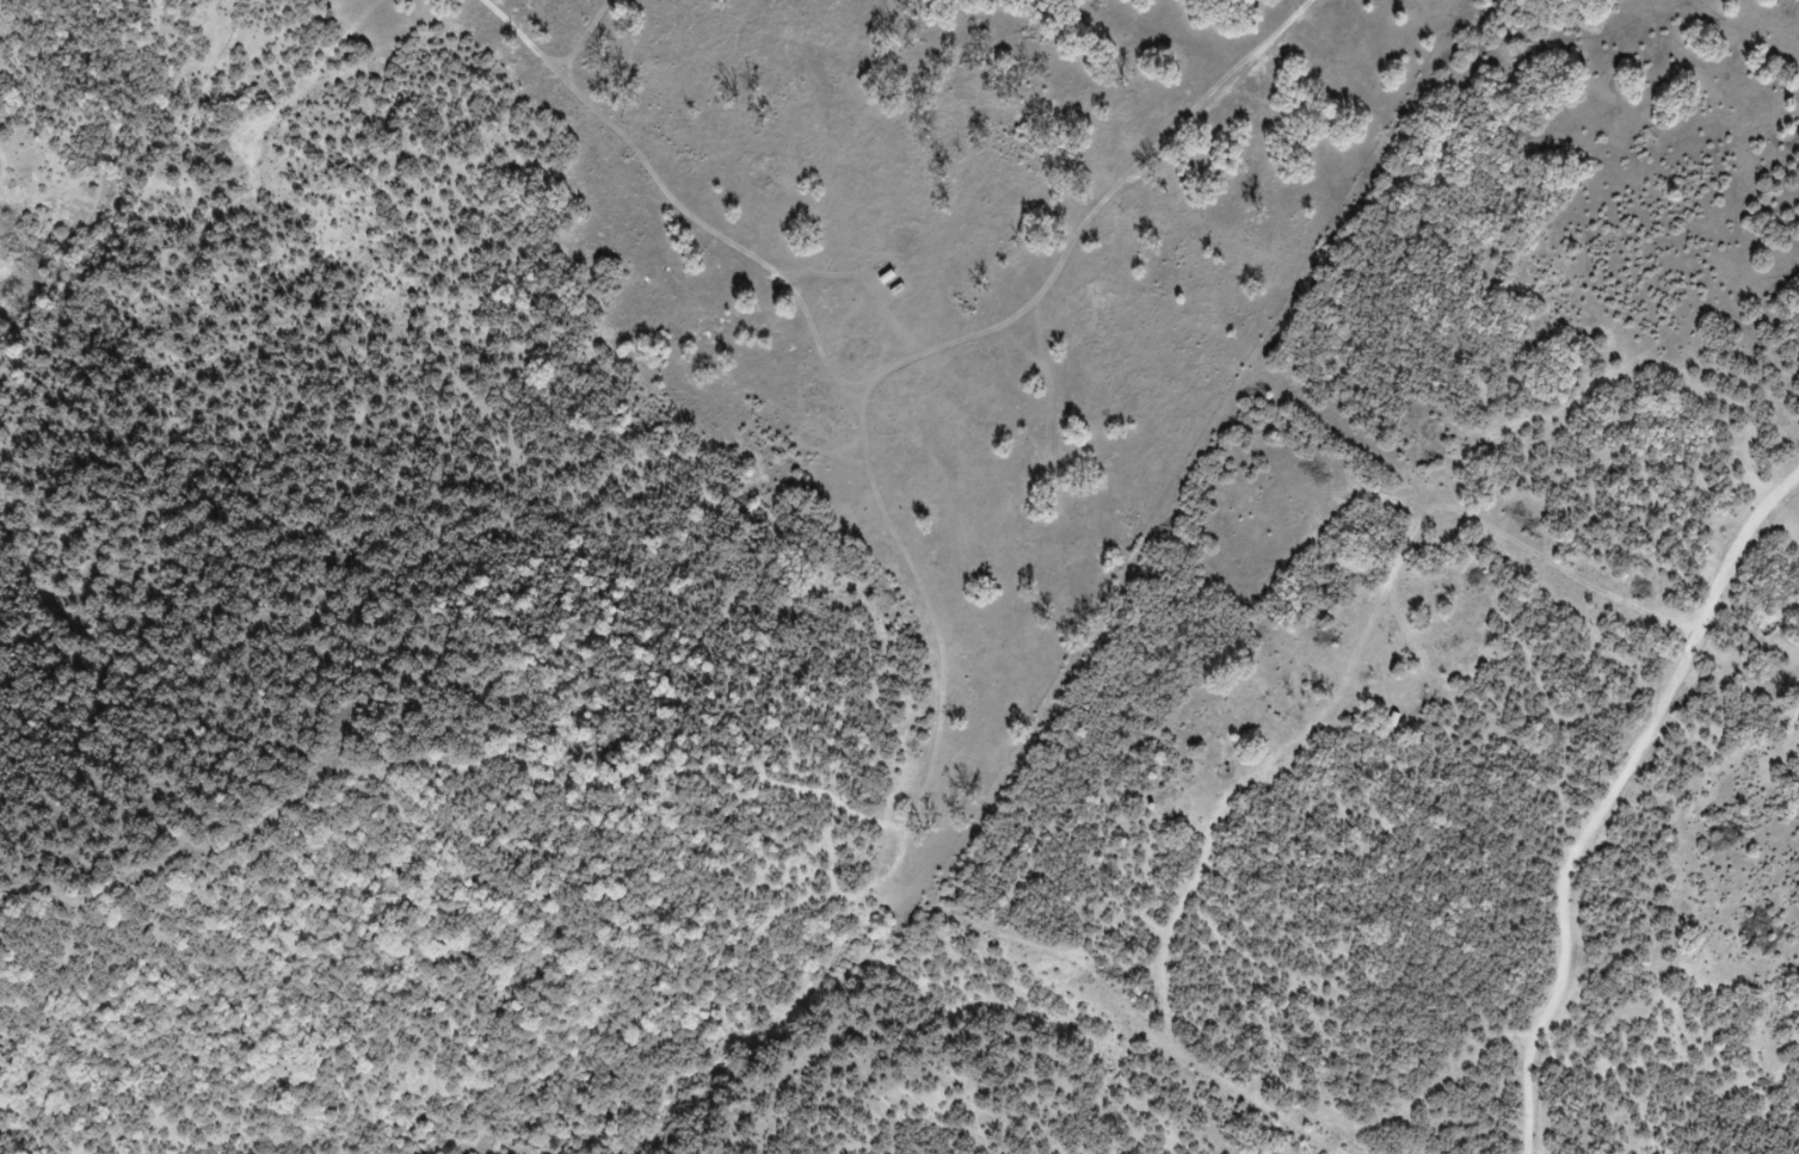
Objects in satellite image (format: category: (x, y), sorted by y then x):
road: (1604, 796)

